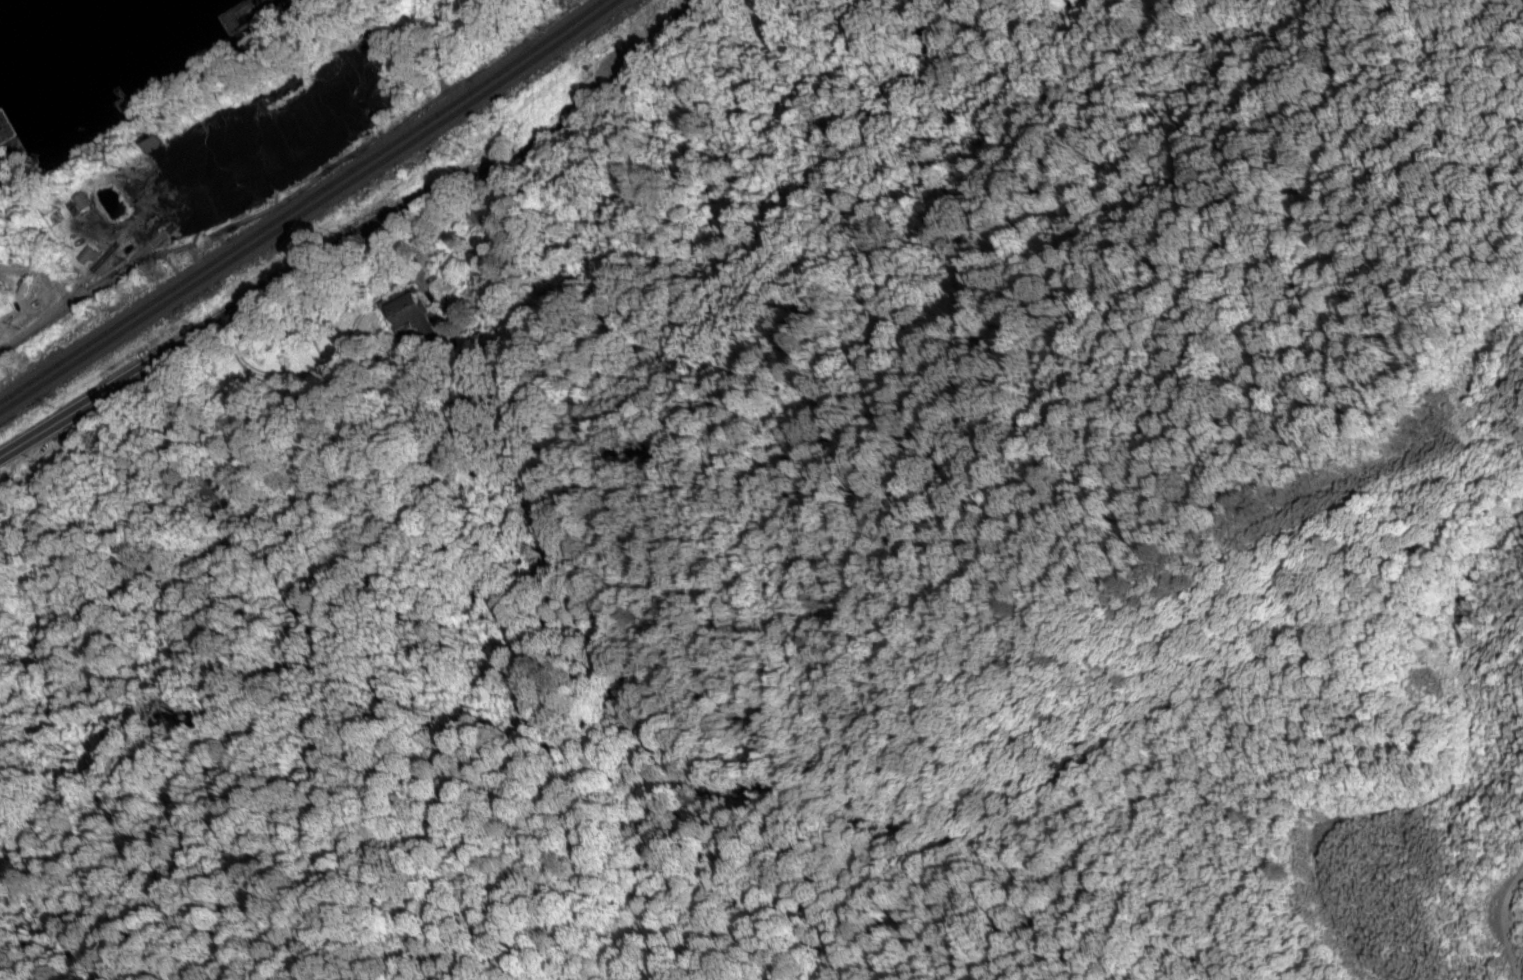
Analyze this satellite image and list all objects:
railway: (301, 201)
railway: (308, 207)
road: (364, 227)
building: (410, 315)
road: (48, 322)

